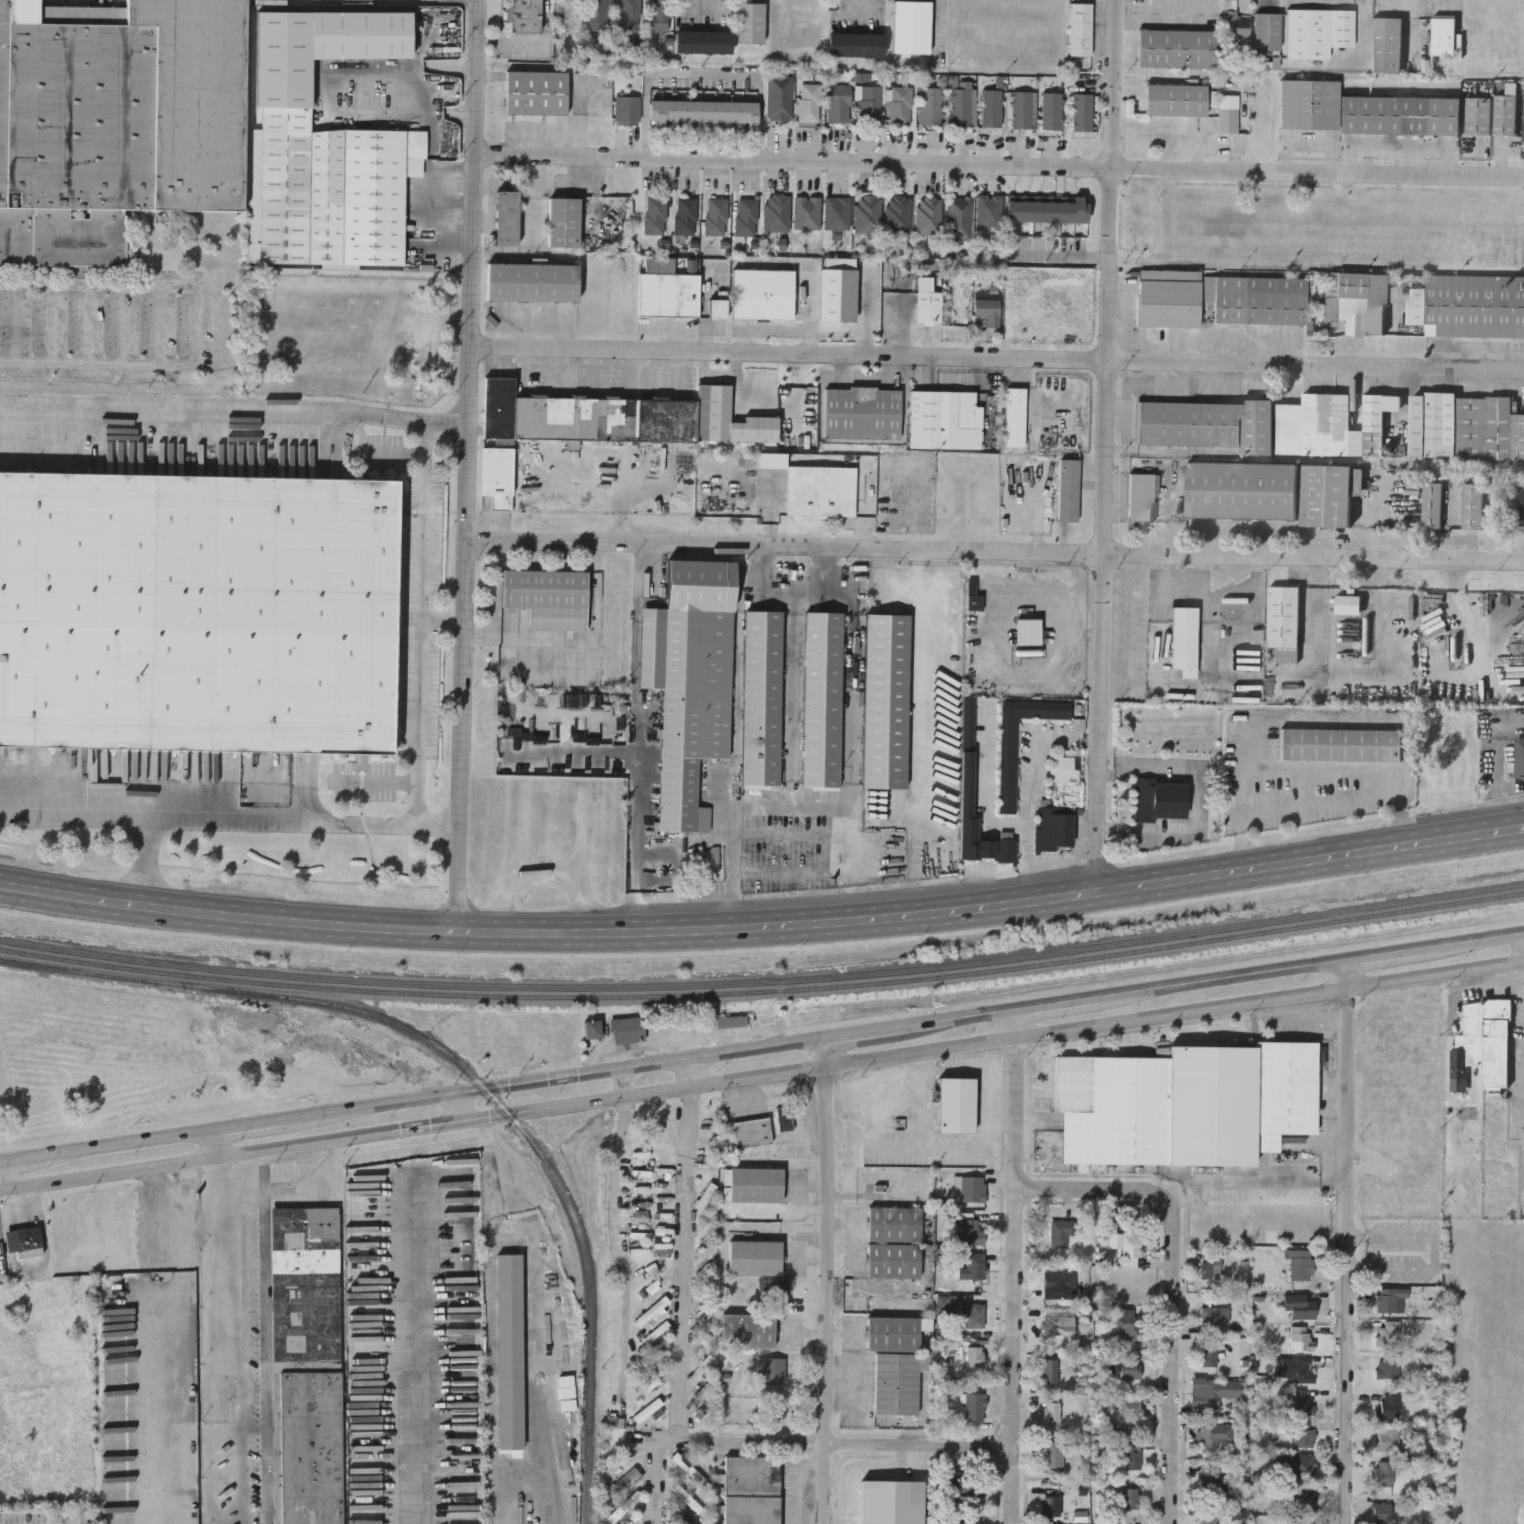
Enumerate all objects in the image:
building: (598, 14)
building: (629, 15)
building: (659, 15)
building: (524, 16)
building: (750, 22)
building: (1234, 23)
building: (911, 27)
building: (1080, 28)
building: (1267, 30)
building: (1317, 31)
building: (1444, 35)
building: (702, 41)
building: (856, 44)
building: (1387, 44)
building: (1178, 47)
building: (536, 91)
building: (778, 97)
building: (1176, 98)
building: (809, 102)
building: (839, 102)
building: (869, 103)
building: (1309, 103)
building: (900, 105)
building: (930, 106)
building: (962, 106)
building: (990, 107)
building: (626, 109)
building: (1023, 109)
building: (702, 110)
building: (1051, 110)
building: (1081, 111)
building: (1400, 114)
building: (1505, 114)
building: (1479, 115)
building: (1227, 119)
building: (114, 120)
road: (997, 168)
building: (332, 190)
building: (989, 209)
building: (1048, 210)
building: (776, 211)
building: (806, 211)
building: (837, 212)
building: (867, 213)
building: (898, 213)
building: (928, 214)
building: (654, 215)
building: (686, 215)
building: (715, 216)
building: (746, 217)
building: (506, 218)
building: (958, 218)
building: (563, 221)
building: (1325, 231)
road: (1063, 255)
building: (532, 283)
building: (762, 293)
building: (668, 295)
building: (1218, 298)
building: (1357, 301)
building: (1469, 305)
building: (927, 307)
building: (717, 309)
building: (988, 311)
road: (197, 324)
road: (999, 360)
road: (523, 368)
road: (557, 368)
road: (594, 369)
road: (636, 369)
road: (678, 372)
road: (236, 405)
building: (861, 413)
building: (1013, 417)
building: (944, 419)
building: (603, 423)
building: (1268, 424)
building: (1465, 427)
road: (1110, 446)
road: (469, 466)
building: (1141, 485)
building: (1067, 489)
building: (819, 490)
building: (1241, 490)
building: (1329, 493)
building: (1522, 501)
building: (1431, 505)
building: (1471, 506)
road: (995, 550)
road: (646, 563)
road: (849, 590)
road: (817, 591)
building: (547, 597)
building: (973, 601)
building: (198, 609)
road: (421, 622)
road: (443, 622)
building: (1283, 622)
building: (1183, 640)
road: (736, 673)
road: (1038, 675)
building: (689, 681)
park: (760, 697)
road: (852, 697)
building: (763, 700)
building: (821, 700)
building: (885, 701)
road: (789, 709)
road: (1319, 719)
building: (1340, 744)
road: (637, 755)
building: (967, 757)
building: (1519, 758)
building: (1007, 765)
road: (1324, 771)
road: (851, 794)
building: (1159, 799)
road: (893, 807)
road: (229, 817)
road: (1031, 817)
building: (1053, 827)
road: (144, 860)
road: (1312, 861)
road: (1070, 897)
road: (519, 933)
road: (1471, 942)
road: (1379, 955)
road: (1219, 978)
railway: (764, 981)
railway: (764, 991)
road: (1057, 1002)
road: (951, 1018)
building: (729, 1022)
building: (591, 1030)
building: (627, 1030)
road: (858, 1031)
building: (1483, 1043)
road: (958, 1054)
railway: (468, 1073)
road: (556, 1076)
road: (762, 1076)
road: (622, 1083)
road: (991, 1088)
building: (1283, 1092)
building: (963, 1093)
road: (1002, 1098)
building: (1211, 1104)
road: (461, 1108)
building: (1111, 1108)
building: (1404, 1109)
road: (254, 1123)
road: (208, 1130)
building: (750, 1132)
road: (225, 1142)
road: (97, 1146)
road: (196, 1146)
road: (1228, 1169)
building: (755, 1184)
road: (317, 1185)
building: (882, 1188)
building: (972, 1188)
road: (1250, 1190)
road: (856, 1196)
building: (893, 1223)
building: (969, 1231)
building: (1060, 1231)
road: (43, 1236)
building: (24, 1240)
road: (1343, 1242)
road: (618, 1246)
building: (1124, 1248)
road: (1434, 1253)
building: (754, 1257)
building: (893, 1261)
building: (1300, 1264)
building: (972, 1266)
road: (1013, 1266)
building: (1212, 1266)
road: (826, 1280)
building: (304, 1282)
building: (1053, 1282)
building: (654, 1286)
road: (1171, 1286)
building: (772, 1288)
road: (680, 1295)
building: (1387, 1298)
building: (1300, 1306)
building: (650, 1311)
building: (970, 1315)
building: (1213, 1316)
building: (1052, 1320)
building: (1125, 1321)
building: (748, 1330)
building: (895, 1333)
building: (1387, 1333)
road: (269, 1337)
building: (1300, 1339)
road: (233, 1340)
building: (509, 1350)
road: (416, 1351)
building: (1208, 1355)
building: (973, 1356)
building: (703, 1363)
building: (706, 1365)
building: (1130, 1368)
building: (1386, 1368)
building: (771, 1369)
building: (1294, 1369)
building: (1049, 1370)
building: (896, 1382)
building: (1210, 1393)
building: (1299, 1402)
building: (1390, 1405)
building: (974, 1406)
building: (646, 1408)
building: (1051, 1410)
building: (1131, 1410)
building: (1303, 1434)
building: (1212, 1435)
building: (1387, 1437)
road: (843, 1446)
building: (305, 1447)
railway: (550, 1453)
building: (1052, 1454)
building: (1131, 1456)
building: (686, 1464)
building: (1296, 1465)
building: (1383, 1473)
road: (539, 1479)
building: (1209, 1479)
building: (964, 1485)
building: (751, 1489)
building: (686, 1498)
building: (1130, 1498)
building: (1300, 1498)
building: (1050, 1504)
building: (1383, 1513)
building: (680, 1518)
building: (1208, 1520)
building: (1299, 1522)
building: (1111, 1523)

